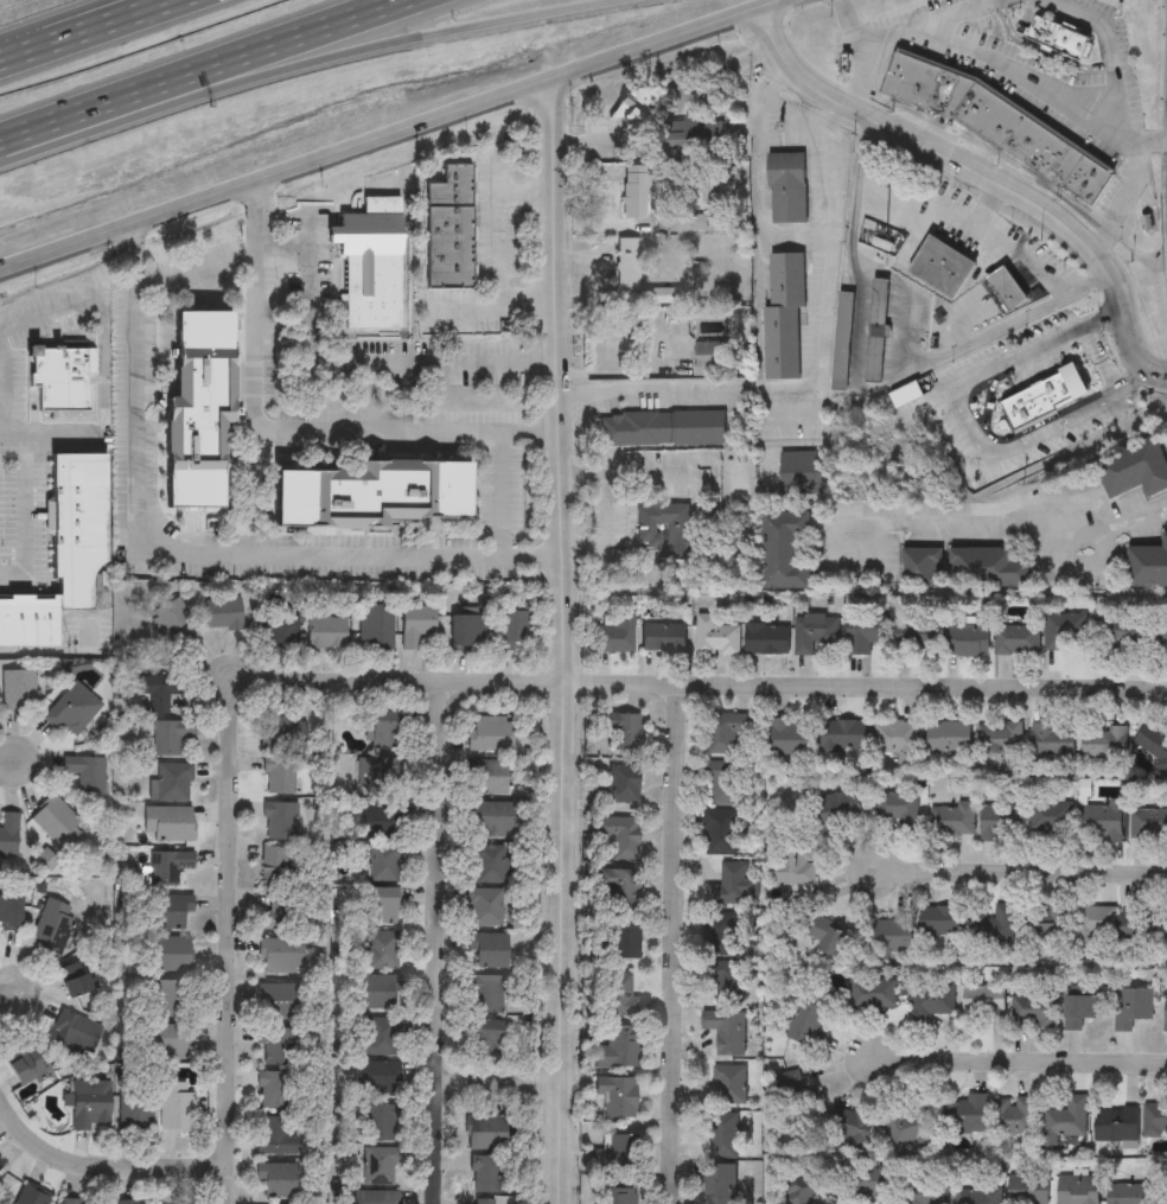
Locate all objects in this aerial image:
road: (52, 19)
road: (87, 30)
road: (904, 30)
building: (1057, 37)
road: (305, 63)
road: (200, 69)
road: (1016, 72)
road: (1108, 76)
building: (632, 112)
road: (796, 115)
building: (993, 123)
building: (694, 133)
road: (390, 138)
road: (983, 177)
building: (785, 186)
building: (637, 192)
road: (1134, 199)
road: (984, 205)
building: (689, 223)
building: (447, 229)
road: (771, 232)
road: (1005, 246)
road: (498, 247)
building: (369, 263)
building: (629, 265)
building: (940, 266)
road: (197, 268)
building: (1005, 287)
building: (880, 302)
building: (782, 314)
road: (956, 321)
building: (843, 342)
road: (1035, 348)
road: (363, 361)
building: (875, 361)
building: (58, 377)
road: (767, 387)
road: (859, 387)
building: (1044, 397)
building: (197, 408)
road: (97, 425)
building: (662, 427)
road: (288, 431)
road: (1034, 435)
road: (499, 457)
building: (1135, 469)
parking lot: (670, 472)
building: (798, 472)
building: (370, 495)
road: (604, 512)
road: (1007, 522)
parking lot: (620, 527)
building: (668, 531)
road: (1090, 536)
road: (227, 546)
building: (64, 552)
building: (786, 552)
building: (1147, 566)
building: (988, 567)
building: (922, 568)
building: (222, 613)
building: (173, 624)
building: (416, 624)
building: (376, 626)
building: (1067, 629)
building: (278, 630)
building: (468, 631)
building: (514, 631)
building: (325, 632)
building: (613, 632)
building: (812, 632)
building: (866, 633)
building: (1121, 635)
building: (715, 636)
building: (946, 636)
building: (663, 637)
building: (765, 638)
building: (1161, 638)
building: (1018, 639)
road: (569, 642)
road: (712, 682)
building: (18, 689)
building: (157, 690)
building: (71, 711)
building: (279, 728)
building: (382, 728)
building: (626, 731)
building: (725, 731)
building: (491, 733)
building: (842, 734)
building: (168, 735)
building: (789, 737)
building: (949, 737)
building: (999, 737)
building: (897, 738)
building: (1052, 739)
building: (1104, 740)
building: (1152, 744)
road: (11, 758)
building: (85, 771)
building: (280, 775)
building: (378, 775)
building: (487, 776)
building: (172, 782)
building: (623, 783)
building: (725, 783)
building: (894, 804)
building: (836, 809)
building: (1051, 817)
building: (491, 818)
building: (954, 818)
building: (280, 821)
building: (1103, 821)
building: (56, 822)
building: (376, 822)
building: (1001, 822)
building: (1148, 823)
building: (167, 824)
building: (721, 832)
building: (8, 834)
building: (623, 837)
building: (384, 861)
building: (490, 864)
building: (168, 866)
building: (275, 866)
building: (791, 866)
road: (1022, 872)
building: (736, 884)
building: (618, 888)
building: (382, 906)
building: (485, 907)
building: (170, 911)
building: (9, 912)
building: (281, 912)
building: (940, 920)
building: (1042, 923)
building: (993, 925)
building: (1095, 925)
building: (52, 926)
building: (1142, 926)
building: (894, 934)
building: (722, 935)
road: (234, 937)
road: (444, 939)
building: (828, 939)
building: (623, 941)
road: (672, 942)
building: (383, 950)
building: (487, 950)
building: (168, 954)
building: (280, 955)
building: (74, 979)
building: (728, 982)
building: (378, 992)
road: (7, 993)
building: (873, 993)
building: (484, 994)
building: (617, 995)
building: (172, 998)
building: (278, 1000)
building: (931, 1001)
building: (983, 1001)
building: (1133, 1007)
building: (1080, 1009)
building: (1033, 1011)
building: (1165, 1013)
building: (809, 1024)
building: (726, 1031)
building: (75, 1033)
building: (376, 1037)
building: (484, 1038)
building: (167, 1040)
building: (275, 1045)
building: (617, 1047)
road: (1018, 1059)
building: (26, 1066)
road: (504, 1072)
building: (376, 1078)
building: (727, 1084)
building: (274, 1089)
building: (795, 1092)
building: (616, 1096)
building: (88, 1103)
building: (174, 1107)
building: (135, 1111)
building: (969, 1114)
building: (1013, 1115)
building: (1154, 1119)
building: (1065, 1120)
building: (381, 1122)
building: (1116, 1123)
building: (849, 1126)
building: (910, 1126)
building: (492, 1132)
building: (723, 1135)
building: (275, 1138)
building: (616, 1154)
road: (104, 1165)
building: (378, 1166)
building: (0, 1167)
building: (486, 1174)
building: (276, 1179)
building: (719, 1184)
building: (867, 1184)
building: (810, 1190)
building: (1027, 1190)
building: (1077, 1190)
building: (926, 1192)
building: (1127, 1193)
building: (978, 1195)
building: (619, 1196)
building: (31, 1197)
building: (372, 1197)
building: (1162, 1199)
building: (69, 1200)
building: (171, 1202)
building: (483, 1202)
building: (134, 1203)

